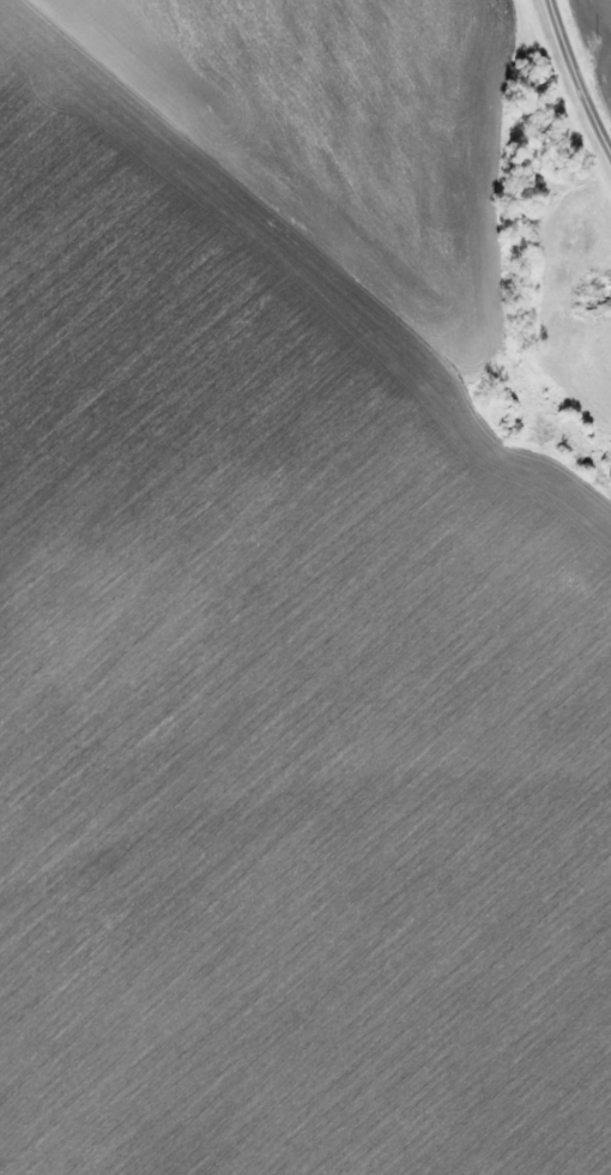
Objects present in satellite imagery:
road: (575, 79)

